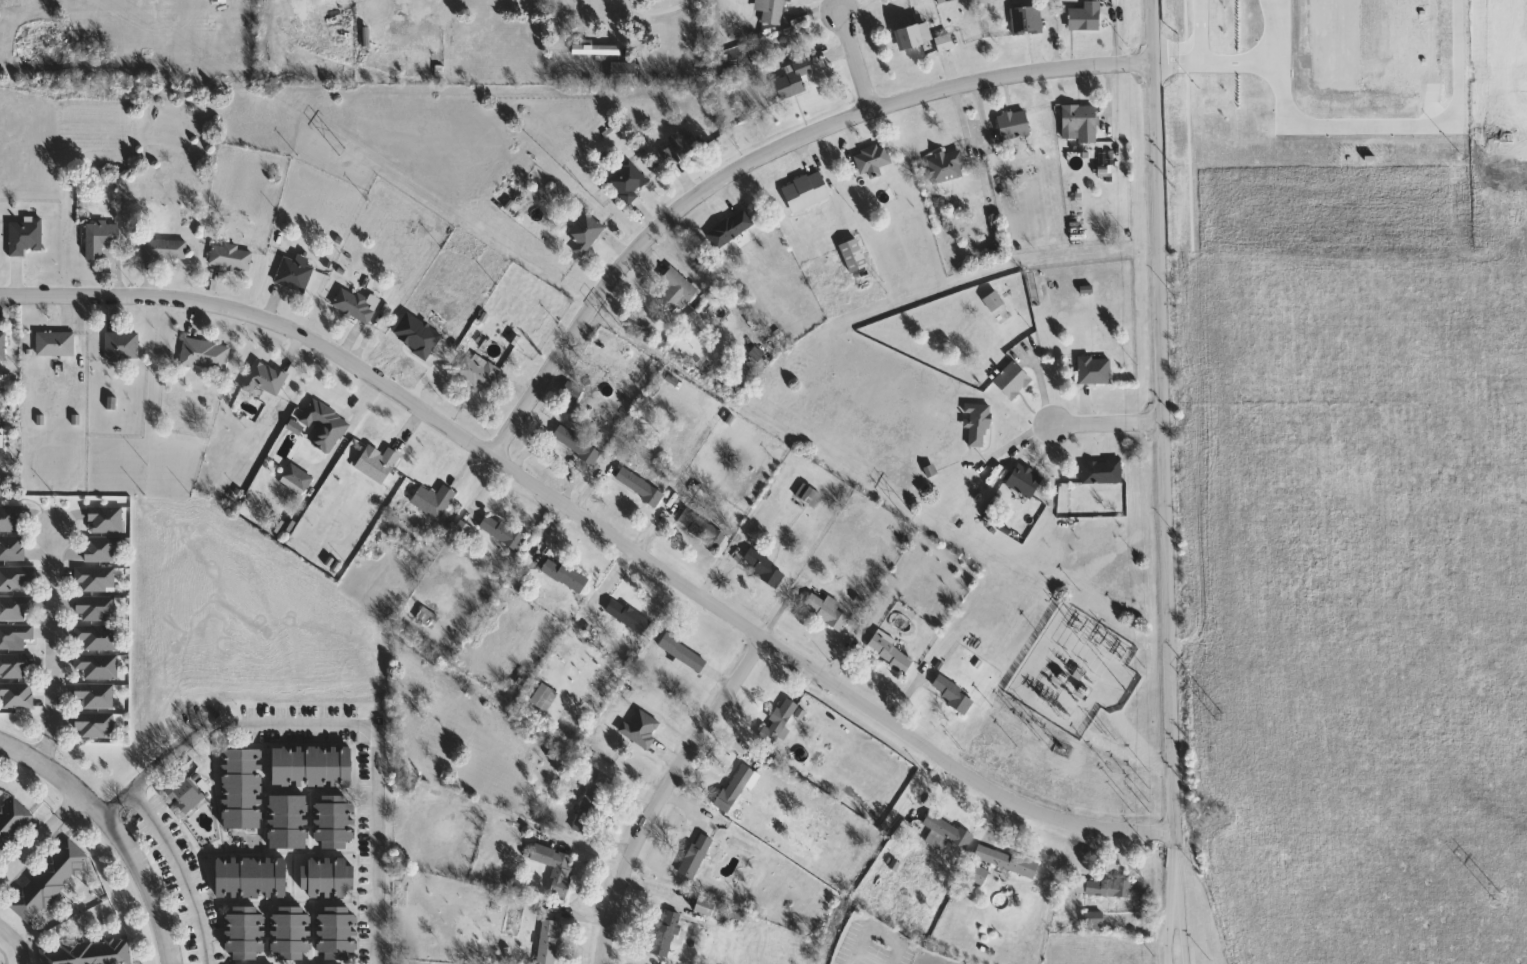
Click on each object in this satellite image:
building: (220, 1)
road: (307, 3)
building: (773, 10)
building: (1087, 17)
road: (633, 18)
building: (1027, 21)
building: (913, 35)
building: (944, 42)
building: (596, 49)
road: (854, 60)
building: (624, 71)
building: (794, 79)
road: (976, 111)
building: (1081, 121)
building: (1014, 125)
road: (973, 143)
building: (680, 146)
power tower: (346, 149)
road: (760, 159)
building: (873, 159)
building: (946, 165)
building: (628, 180)
building: (806, 191)
building: (731, 227)
building: (586, 232)
building: (25, 236)
building: (100, 238)
building: (165, 250)
building: (854, 255)
building: (231, 257)
building: (294, 274)
building: (677, 291)
building: (355, 306)
power tower: (621, 326)
building: (55, 344)
building: (3, 346)
building: (122, 347)
building: (205, 355)
building: (1095, 371)
building: (480, 373)
building: (265, 379)
building: (1012, 381)
building: (572, 392)
road: (1109, 423)
building: (977, 424)
building: (327, 426)
building: (577, 445)
road: (1161, 455)
building: (378, 463)
building: (1102, 472)
building: (298, 478)
building: (1024, 481)
building: (640, 487)
building: (811, 497)
building: (434, 501)
power tower: (915, 516)
building: (12, 519)
building: (105, 519)
road: (598, 527)
building: (702, 529)
building: (501, 531)
building: (12, 548)
building: (102, 548)
building: (765, 569)
building: (565, 574)
building: (15, 578)
building: (97, 579)
building: (15, 607)
building: (96, 608)
building: (827, 610)
building: (628, 616)
building: (429, 618)
building: (15, 636)
building: (98, 637)
road: (53, 648)
building: (683, 652)
building: (890, 652)
building: (16, 666)
building: (98, 666)
power substation: (1077, 673)
building: (952, 694)
building: (17, 695)
building: (95, 695)
building: (545, 697)
power tower: (1221, 714)
building: (779, 720)
building: (95, 724)
road: (339, 727)
building: (641, 728)
building: (309, 763)
building: (241, 786)
building: (737, 787)
road: (662, 792)
building: (184, 795)
building: (332, 818)
building: (287, 820)
building: (13, 822)
road: (115, 830)
building: (948, 830)
road: (40, 838)
building: (696, 856)
building: (1006, 861)
building: (556, 868)
road: (179, 871)
building: (976, 873)
building: (248, 875)
building: (324, 876)
building: (49, 882)
building: (1104, 888)
building: (712, 910)
building: (1095, 919)
building: (243, 931)
building: (289, 931)
building: (335, 931)
building: (668, 934)
road: (1168, 936)
road: (1182, 936)
building: (548, 942)
road: (16, 943)
building: (89, 952)

